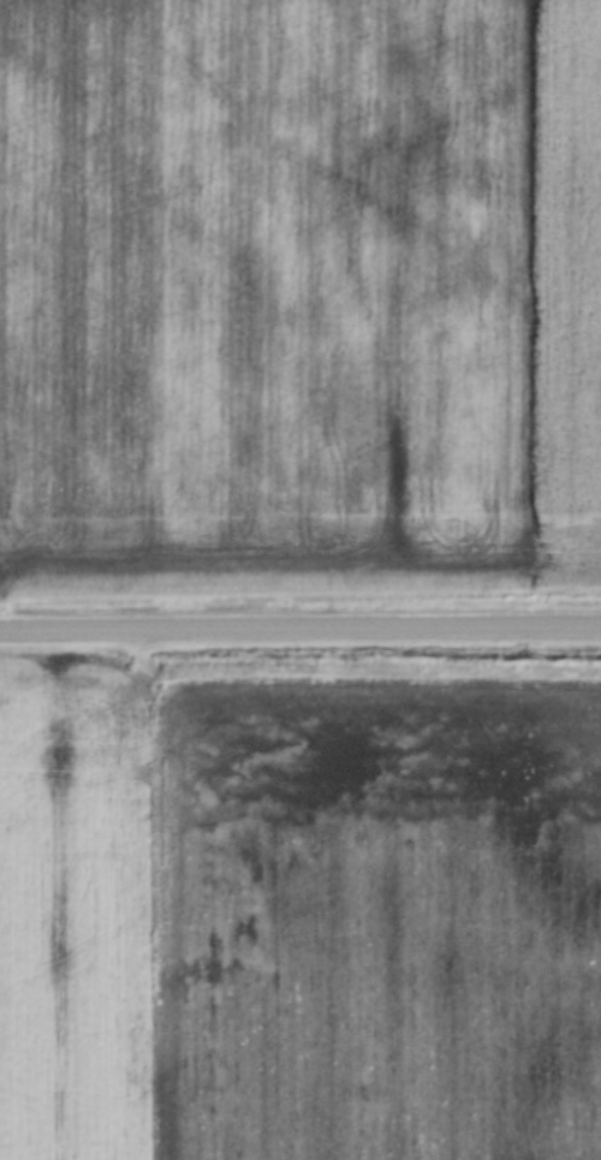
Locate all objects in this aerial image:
road: (300, 626)

